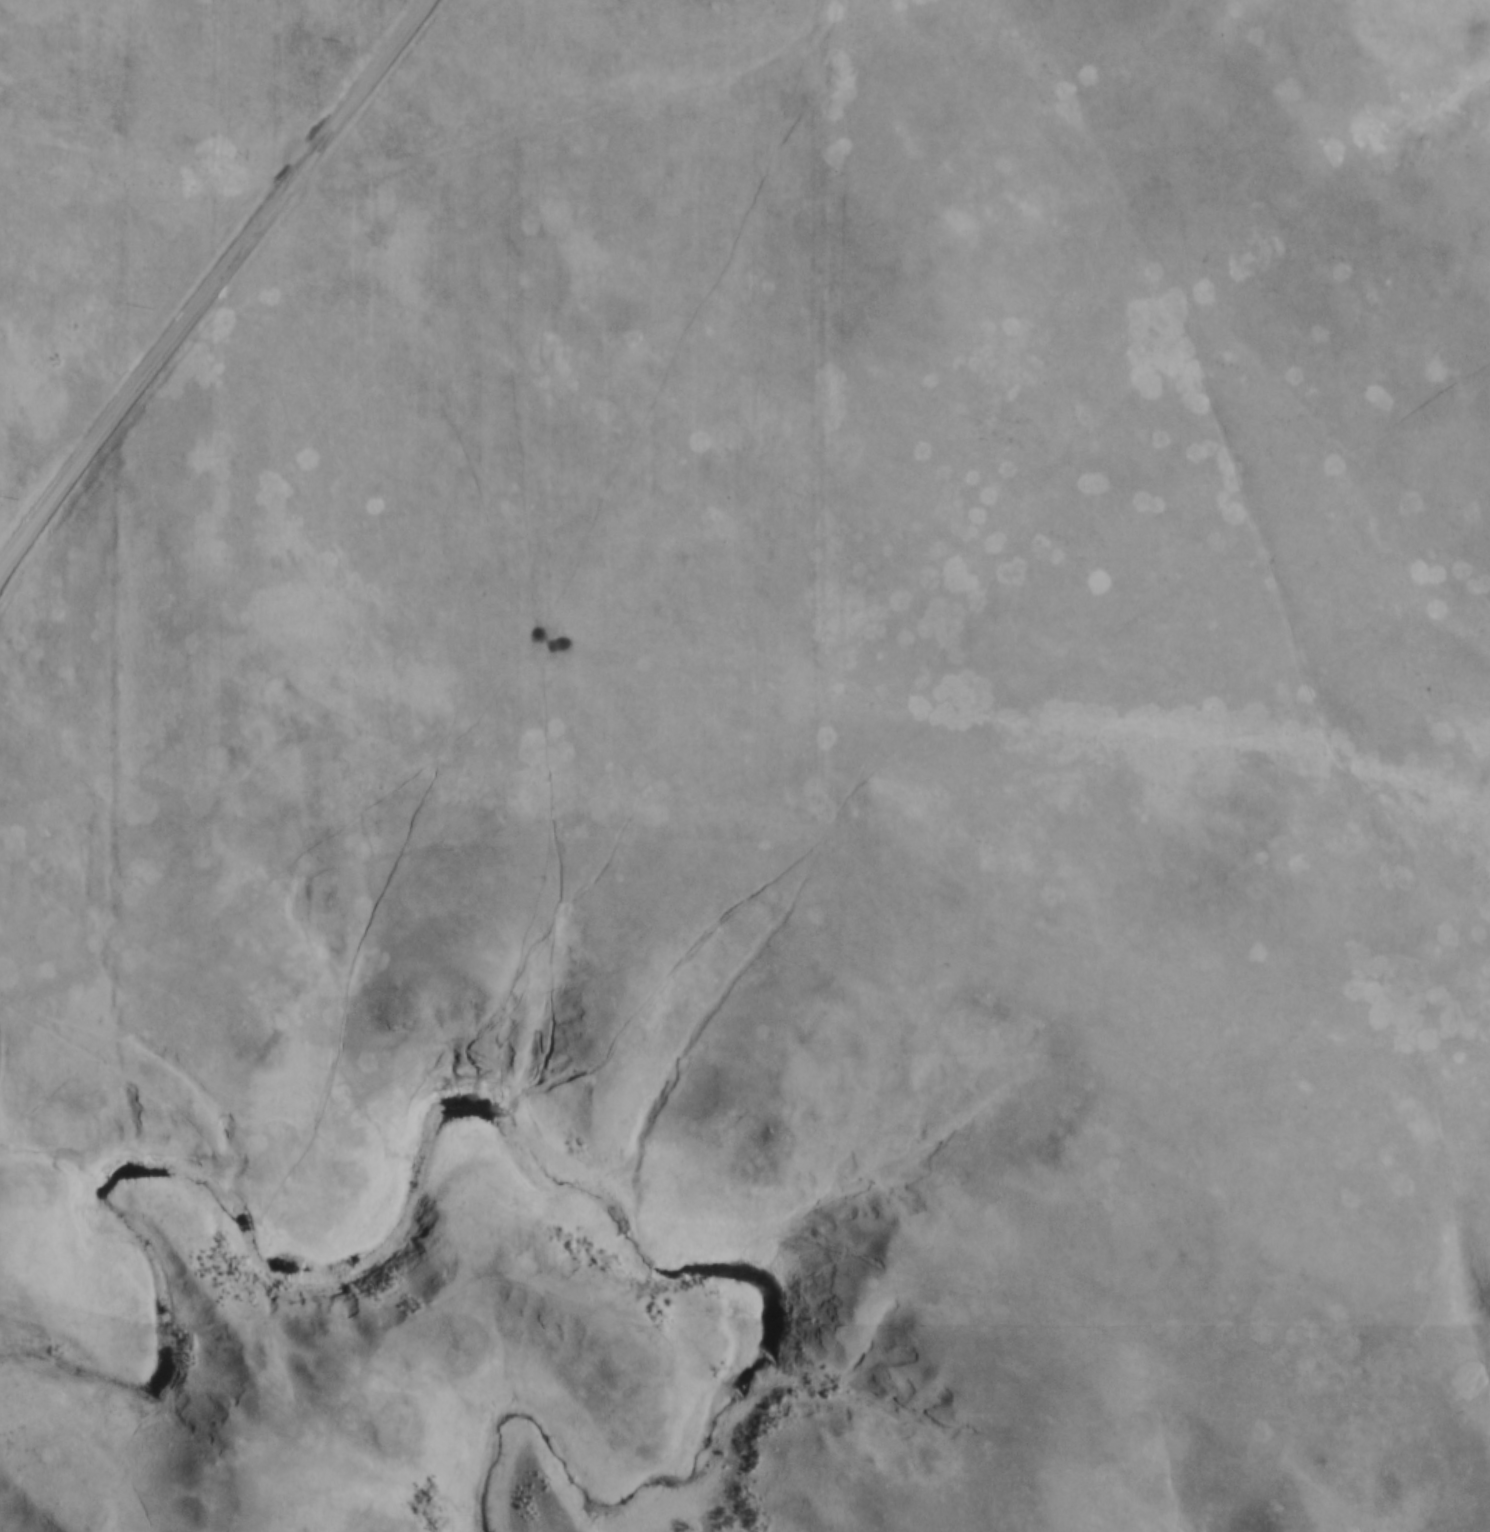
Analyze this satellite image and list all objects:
road: (210, 288)

